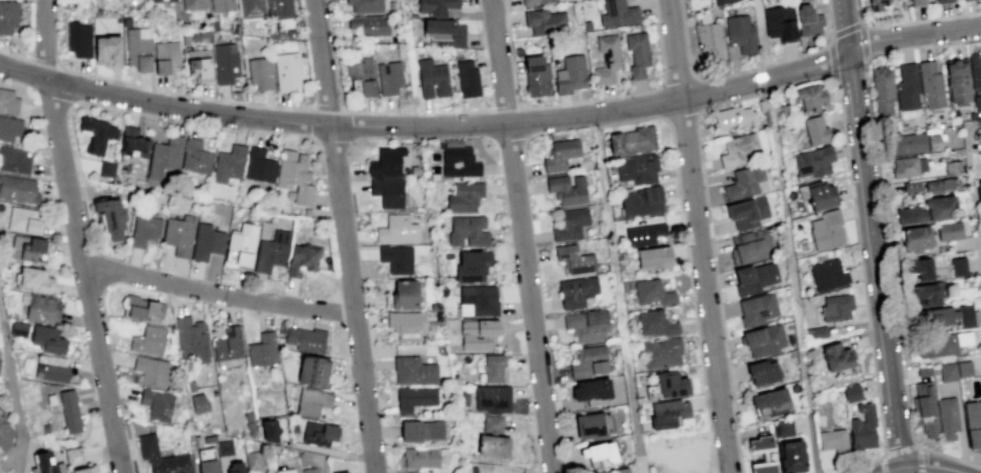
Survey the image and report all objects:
building: (798, 0)
building: (962, 0)
building: (168, 1)
building: (719, 1)
building: (942, 1)
building: (541, 2)
building: (917, 3)
building: (877, 4)
building: (199, 5)
building: (226, 5)
building: (370, 6)
building: (440, 7)
building: (257, 9)
building: (284, 9)
building: (618, 13)
building: (11, 18)
road: (330, 21)
building: (808, 21)
road: (908, 22)
road: (480, 23)
building: (550, 23)
building: (780, 23)
building: (375, 25)
road: (843, 29)
building: (739, 32)
building: (449, 33)
road: (916, 37)
building: (84, 40)
building: (709, 41)
road: (509, 43)
road: (492, 46)
building: (115, 50)
building: (145, 50)
road: (9, 52)
building: (638, 53)
road: (39, 58)
building: (171, 58)
building: (614, 61)
building: (232, 65)
building: (204, 66)
road: (745, 69)
building: (975, 71)
building: (291, 72)
building: (266, 74)
building: (574, 75)
building: (366, 77)
building: (542, 77)
building: (393, 78)
road: (678, 78)
building: (471, 80)
building: (436, 81)
building: (957, 82)
road: (66, 83)
building: (931, 85)
road: (510, 87)
building: (906, 87)
building: (882, 91)
road: (180, 92)
road: (635, 93)
building: (815, 99)
building: (11, 101)
building: (977, 103)
road: (323, 105)
road: (502, 106)
road: (412, 112)
building: (737, 119)
road: (428, 127)
building: (12, 129)
building: (820, 131)
building: (103, 136)
building: (637, 141)
building: (912, 143)
building: (139, 144)
road: (74, 147)
building: (743, 151)
building: (565, 155)
building: (170, 157)
building: (201, 158)
road: (485, 158)
building: (818, 161)
building: (17, 162)
building: (391, 163)
building: (464, 163)
building: (233, 165)
building: (264, 168)
building: (911, 168)
building: (952, 169)
building: (111, 170)
building: (642, 170)
building: (300, 179)
road: (973, 182)
building: (749, 184)
building: (941, 185)
building: (978, 189)
building: (21, 190)
building: (571, 190)
building: (393, 193)
building: (822, 196)
building: (469, 198)
building: (646, 202)
road: (785, 206)
building: (926, 212)
building: (750, 213)
building: (117, 218)
building: (29, 221)
building: (574, 224)
road: (875, 225)
road: (886, 228)
building: (150, 230)
building: (402, 230)
building: (831, 231)
building: (473, 232)
building: (949, 232)
building: (185, 235)
road: (345, 236)
road: (523, 236)
building: (652, 236)
road: (701, 236)
road: (77, 237)
building: (915, 240)
building: (212, 242)
road: (610, 242)
building: (248, 248)
building: (751, 248)
building: (41, 250)
building: (277, 253)
road: (713, 255)
building: (308, 259)
building: (401, 259)
building: (578, 259)
building: (660, 259)
road: (687, 260)
building: (477, 266)
building: (958, 266)
road: (102, 268)
building: (927, 270)
building: (831, 276)
building: (758, 278)
building: (39, 281)
road: (118, 285)
road: (864, 286)
building: (581, 291)
road: (218, 292)
building: (657, 293)
building: (931, 294)
building: (412, 296)
building: (482, 301)
building: (841, 308)
building: (146, 309)
building: (760, 310)
building: (47, 311)
building: (942, 317)
building: (971, 317)
road: (1, 320)
building: (661, 323)
building: (412, 326)
building: (592, 326)
building: (26, 330)
building: (484, 334)
building: (311, 340)
building: (56, 341)
building: (769, 341)
building: (154, 342)
building: (196, 342)
building: (950, 344)
building: (234, 345)
building: (267, 351)
road: (543, 351)
building: (667, 354)
building: (844, 358)
building: (595, 363)
building: (57, 368)
building: (498, 368)
building: (964, 368)
building: (155, 371)
building: (321, 371)
building: (419, 371)
building: (947, 371)
building: (770, 372)
road: (555, 381)
building: (679, 386)
building: (600, 391)
building: (857, 394)
building: (420, 398)
road: (15, 399)
building: (497, 399)
building: (777, 402)
building: (199, 403)
building: (317, 403)
building: (162, 405)
building: (925, 407)
building: (74, 413)
building: (674, 414)
road: (545, 416)
building: (948, 419)
road: (633, 422)
building: (973, 422)
building: (598, 428)
building: (784, 428)
building: (868, 429)
building: (276, 431)
building: (428, 431)
building: (4, 433)
building: (324, 434)
building: (499, 439)
building: (838, 441)
road: (816, 443)
road: (534, 445)
building: (224, 448)
road: (905, 450)
building: (610, 453)
building: (769, 455)
building: (79, 456)
building: (155, 456)
building: (802, 457)
road: (908, 457)
building: (426, 459)
building: (253, 460)
building: (53, 461)
building: (214, 461)
road: (918, 464)
road: (360, 465)
building: (243, 468)
building: (94, 470)
building: (313, 471)
road: (0, 472)
building: (294, 472)
building: (344, 472)
building: (625, 472)

